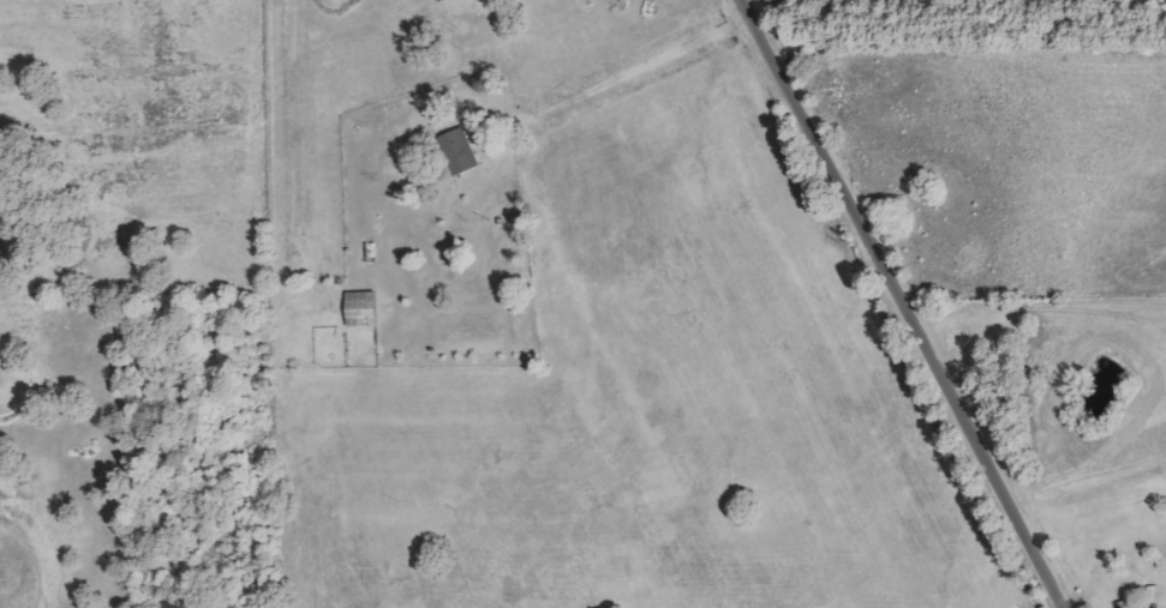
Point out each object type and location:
building: (461, 150)
road: (899, 303)
building: (363, 308)
building: (1130, 603)
building: (1158, 607)

